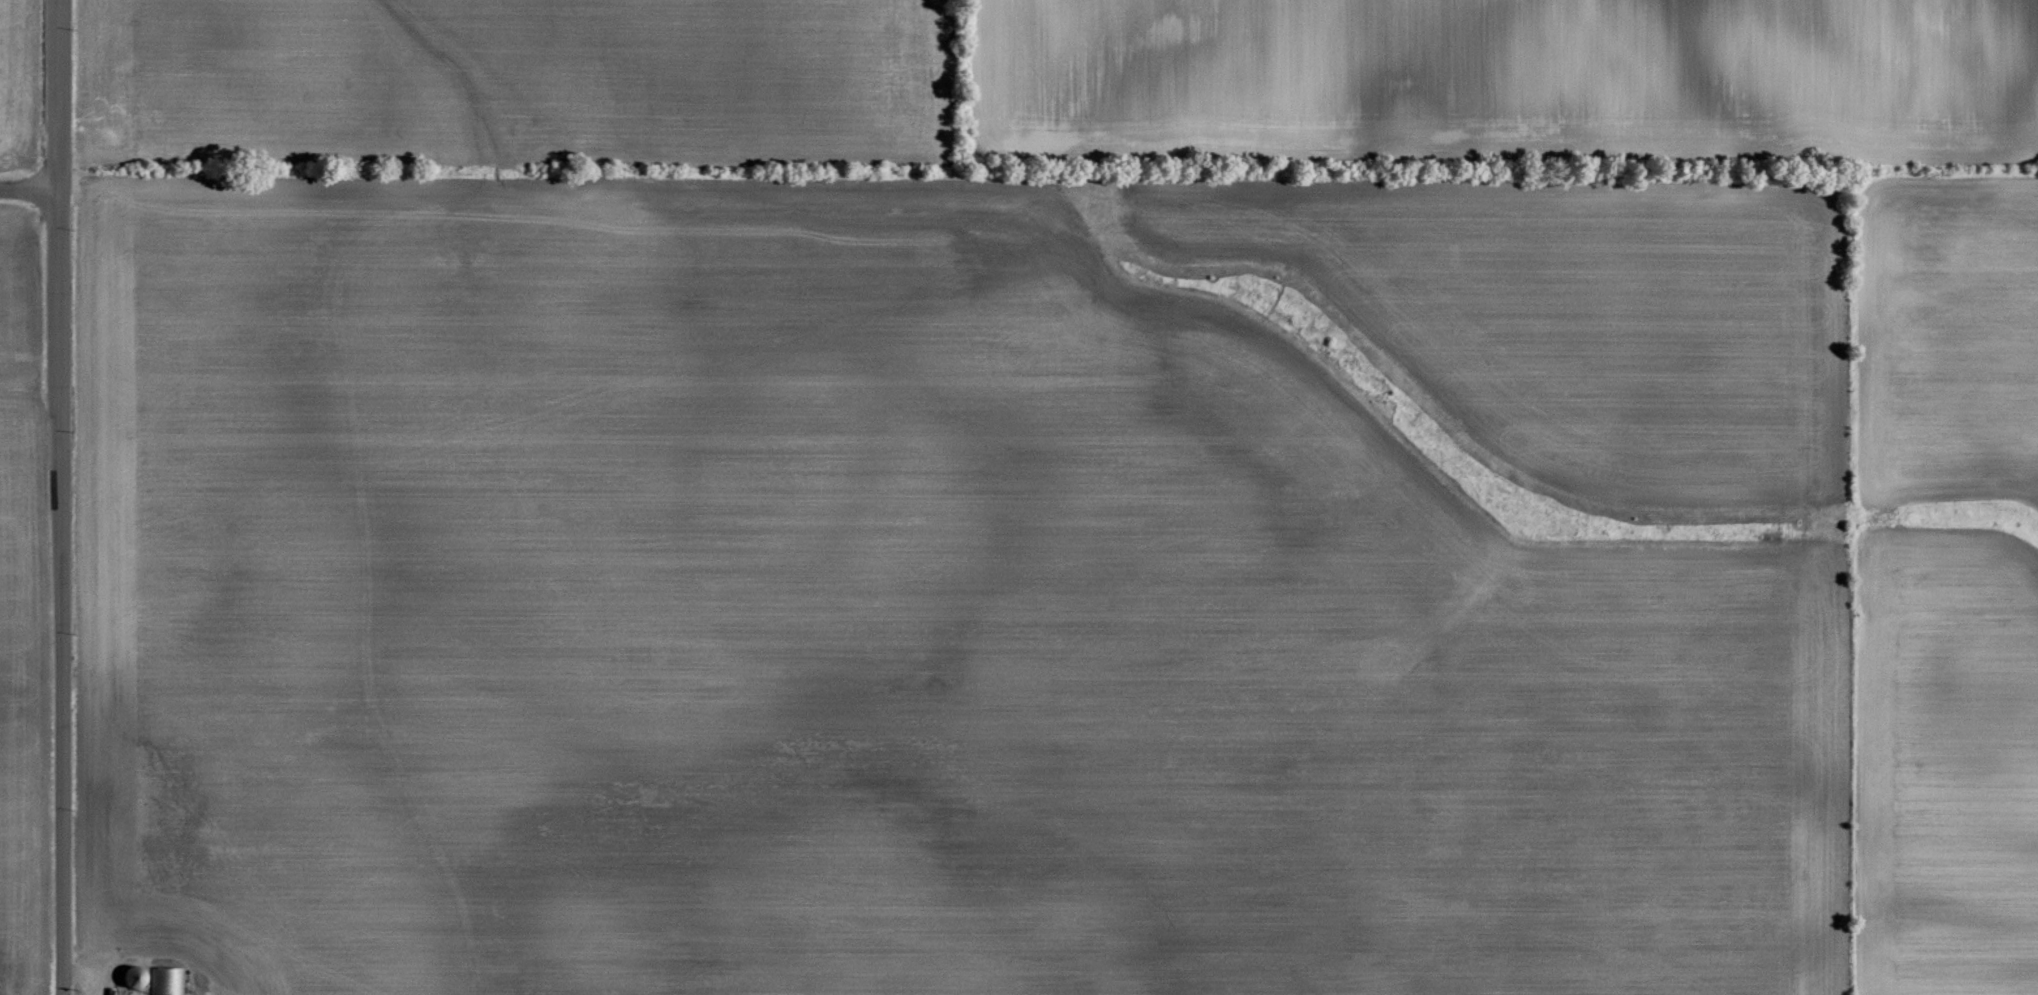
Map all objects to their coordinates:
road: (29, 197)
road: (59, 497)
building: (163, 980)

